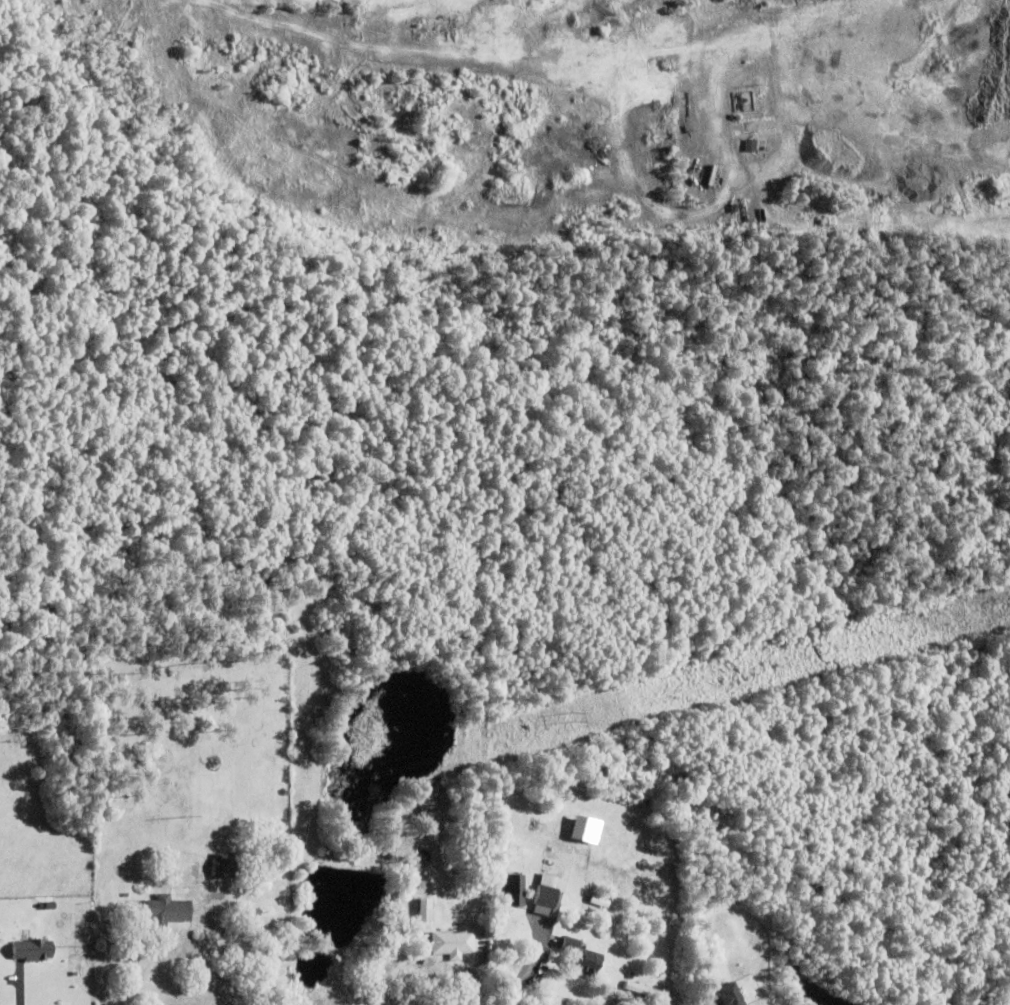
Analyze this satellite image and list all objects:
building: (752, 146)
building: (814, 223)
building: (424, 857)
building: (224, 867)
building: (509, 889)
building: (546, 896)
building: (168, 912)
building: (425, 912)
building: (453, 945)
building: (31, 952)
building: (581, 961)
road: (519, 968)
building: (644, 992)
building: (727, 994)

